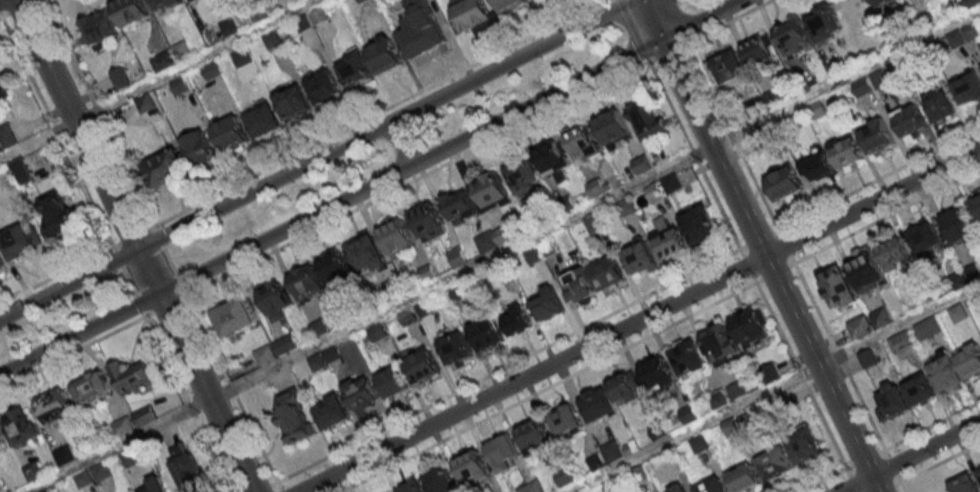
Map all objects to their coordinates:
road: (1, 0)
building: (192, 0)
building: (883, 2)
building: (164, 4)
building: (508, 5)
road: (19, 9)
building: (131, 11)
building: (319, 15)
building: (470, 16)
road: (0, 18)
road: (728, 20)
building: (823, 22)
building: (303, 24)
building: (228, 25)
building: (99, 27)
road: (632, 30)
building: (422, 35)
building: (964, 35)
building: (792, 37)
building: (271, 39)
traffic signals: (660, 41)
building: (758, 49)
building: (182, 50)
building: (386, 55)
building: (241, 57)
building: (163, 60)
building: (727, 66)
building: (355, 69)
road: (25, 70)
building: (210, 70)
building: (879, 79)
road: (157, 80)
building: (113, 81)
road: (707, 83)
building: (3, 85)
building: (179, 85)
building: (323, 86)
building: (862, 86)
building: (968, 87)
building: (145, 103)
building: (293, 103)
building: (940, 105)
building: (817, 109)
road: (97, 111)
road: (371, 112)
building: (262, 119)
building: (647, 120)
building: (910, 120)
building: (612, 128)
road: (54, 131)
building: (230, 131)
building: (7, 135)
building: (876, 135)
building: (582, 143)
road: (398, 145)
building: (199, 148)
building: (845, 151)
road: (694, 152)
road: (315, 158)
building: (552, 159)
building: (818, 166)
building: (164, 167)
building: (17, 172)
building: (522, 175)
road: (752, 176)
road: (878, 176)
road: (415, 178)
building: (785, 183)
road: (370, 186)
building: (490, 189)
road: (83, 194)
building: (654, 195)
building: (460, 205)
building: (976, 206)
building: (57, 213)
road: (884, 213)
building: (427, 222)
building: (699, 224)
building: (960, 225)
building: (923, 233)
road: (125, 235)
building: (396, 238)
building: (493, 238)
building: (17, 239)
building: (669, 243)
road: (134, 246)
road: (759, 246)
building: (890, 248)
road: (502, 251)
building: (534, 253)
building: (367, 254)
building: (456, 257)
road: (167, 258)
building: (639, 259)
building: (1, 264)
building: (337, 266)
building: (866, 270)
building: (608, 274)
road: (54, 275)
road: (126, 283)
building: (836, 285)
building: (577, 286)
building: (291, 291)
building: (547, 302)
road: (165, 304)
building: (236, 316)
road: (638, 319)
building: (516, 320)
road: (898, 324)
building: (752, 327)
building: (861, 327)
building: (927, 327)
building: (486, 333)
building: (719, 342)
building: (455, 349)
road: (73, 350)
building: (688, 357)
building: (970, 358)
building: (422, 365)
building: (658, 373)
building: (946, 373)
building: (131, 374)
road: (801, 377)
building: (393, 381)
building: (90, 386)
road: (545, 388)
building: (625, 388)
building: (919, 389)
building: (363, 394)
road: (861, 400)
building: (892, 402)
road: (187, 403)
building: (597, 404)
building: (55, 405)
building: (332, 411)
road: (414, 411)
building: (294, 416)
building: (566, 419)
building: (134, 420)
building: (19, 425)
road: (692, 428)
building: (534, 434)
building: (2, 444)
building: (804, 445)
building: (503, 451)
building: (64, 454)
road: (909, 456)
building: (130, 457)
road: (934, 462)
building: (775, 463)
building: (473, 466)
building: (187, 469)
building: (978, 469)
building: (94, 474)
building: (744, 477)
building: (440, 480)
road: (826, 481)
building: (965, 484)
building: (413, 486)
building: (710, 486)
building: (531, 488)
building: (162, 489)
building: (682, 490)

